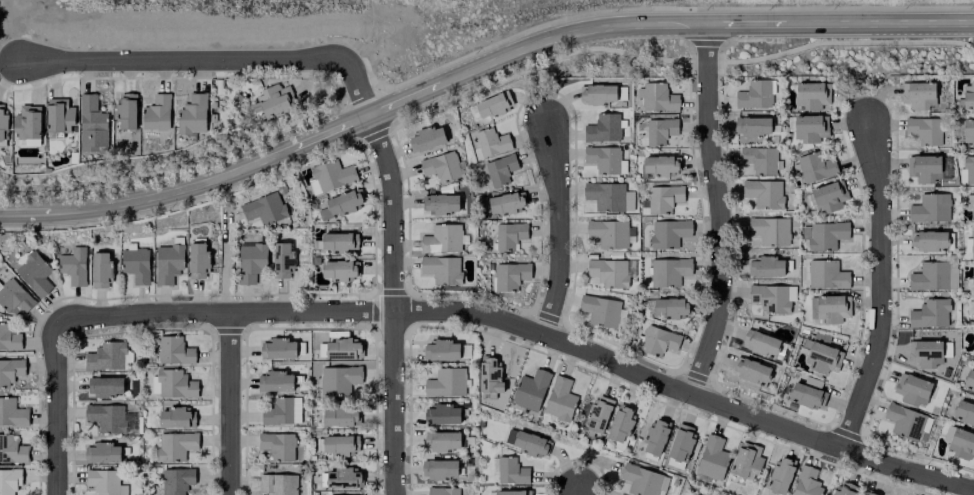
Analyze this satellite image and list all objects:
road: (879, 23)
road: (745, 24)
road: (570, 35)
road: (209, 59)
road: (8, 61)
building: (598, 93)
building: (754, 94)
building: (918, 94)
building: (811, 95)
building: (968, 95)
building: (658, 97)
road: (406, 99)
building: (273, 100)
building: (491, 105)
building: (126, 112)
building: (156, 113)
building: (192, 114)
building: (59, 115)
building: (27, 122)
building: (3, 124)
building: (92, 125)
building: (752, 126)
building: (811, 126)
building: (602, 128)
building: (924, 129)
building: (660, 130)
road: (329, 131)
building: (968, 132)
building: (426, 139)
building: (491, 142)
building: (602, 158)
building: (758, 159)
building: (659, 165)
building: (441, 166)
building: (815, 167)
building: (500, 168)
building: (923, 168)
building: (968, 170)
building: (332, 175)
road: (172, 193)
building: (762, 193)
building: (608, 196)
building: (828, 196)
building: (663, 198)
building: (441, 203)
building: (504, 203)
building: (341, 204)
building: (973, 207)
building: (263, 208)
building: (929, 208)
road: (24, 211)
road: (717, 211)
building: (769, 230)
building: (609, 232)
building: (668, 232)
road: (562, 233)
building: (823, 234)
building: (509, 235)
building: (442, 239)
building: (928, 240)
building: (337, 241)
building: (972, 243)
building: (197, 259)
building: (282, 259)
building: (250, 261)
building: (167, 263)
road: (224, 263)
building: (135, 265)
building: (72, 266)
building: (764, 266)
building: (441, 268)
building: (338, 269)
building: (100, 270)
building: (668, 270)
building: (611, 271)
building: (33, 273)
building: (509, 275)
building: (826, 275)
building: (930, 276)
building: (973, 278)
road: (882, 288)
building: (14, 296)
building: (772, 297)
road: (391, 302)
building: (670, 307)
building: (830, 308)
building: (973, 310)
building: (602, 311)
building: (929, 313)
road: (527, 330)
building: (9, 338)
building: (657, 341)
building: (760, 342)
building: (278, 348)
building: (342, 348)
building: (442, 350)
building: (174, 351)
building: (926, 353)
building: (108, 357)
building: (10, 370)
building: (750, 370)
building: (492, 376)
building: (338, 379)
building: (969, 380)
building: (275, 381)
building: (445, 382)
building: (175, 384)
building: (104, 386)
building: (530, 389)
building: (912, 389)
building: (806, 392)
building: (559, 399)
road: (229, 403)
road: (55, 409)
building: (279, 410)
building: (11, 412)
building: (963, 412)
building: (442, 414)
building: (598, 414)
building: (340, 416)
building: (176, 417)
building: (109, 418)
building: (907, 422)
building: (620, 424)
building: (655, 437)
building: (442, 440)
building: (526, 441)
building: (681, 442)
building: (961, 443)
building: (338, 444)
building: (175, 445)
building: (277, 445)
building: (12, 450)
building: (101, 453)
building: (712, 458)
building: (746, 460)
building: (439, 468)
building: (511, 471)
building: (780, 475)
building: (342, 478)
building: (9, 480)
building: (176, 480)
building: (103, 481)
building: (644, 481)
building: (807, 482)
building: (277, 484)
building: (843, 489)
building: (442, 491)
road: (575, 491)
building: (513, 492)
building: (869, 492)
building: (342, 494)

